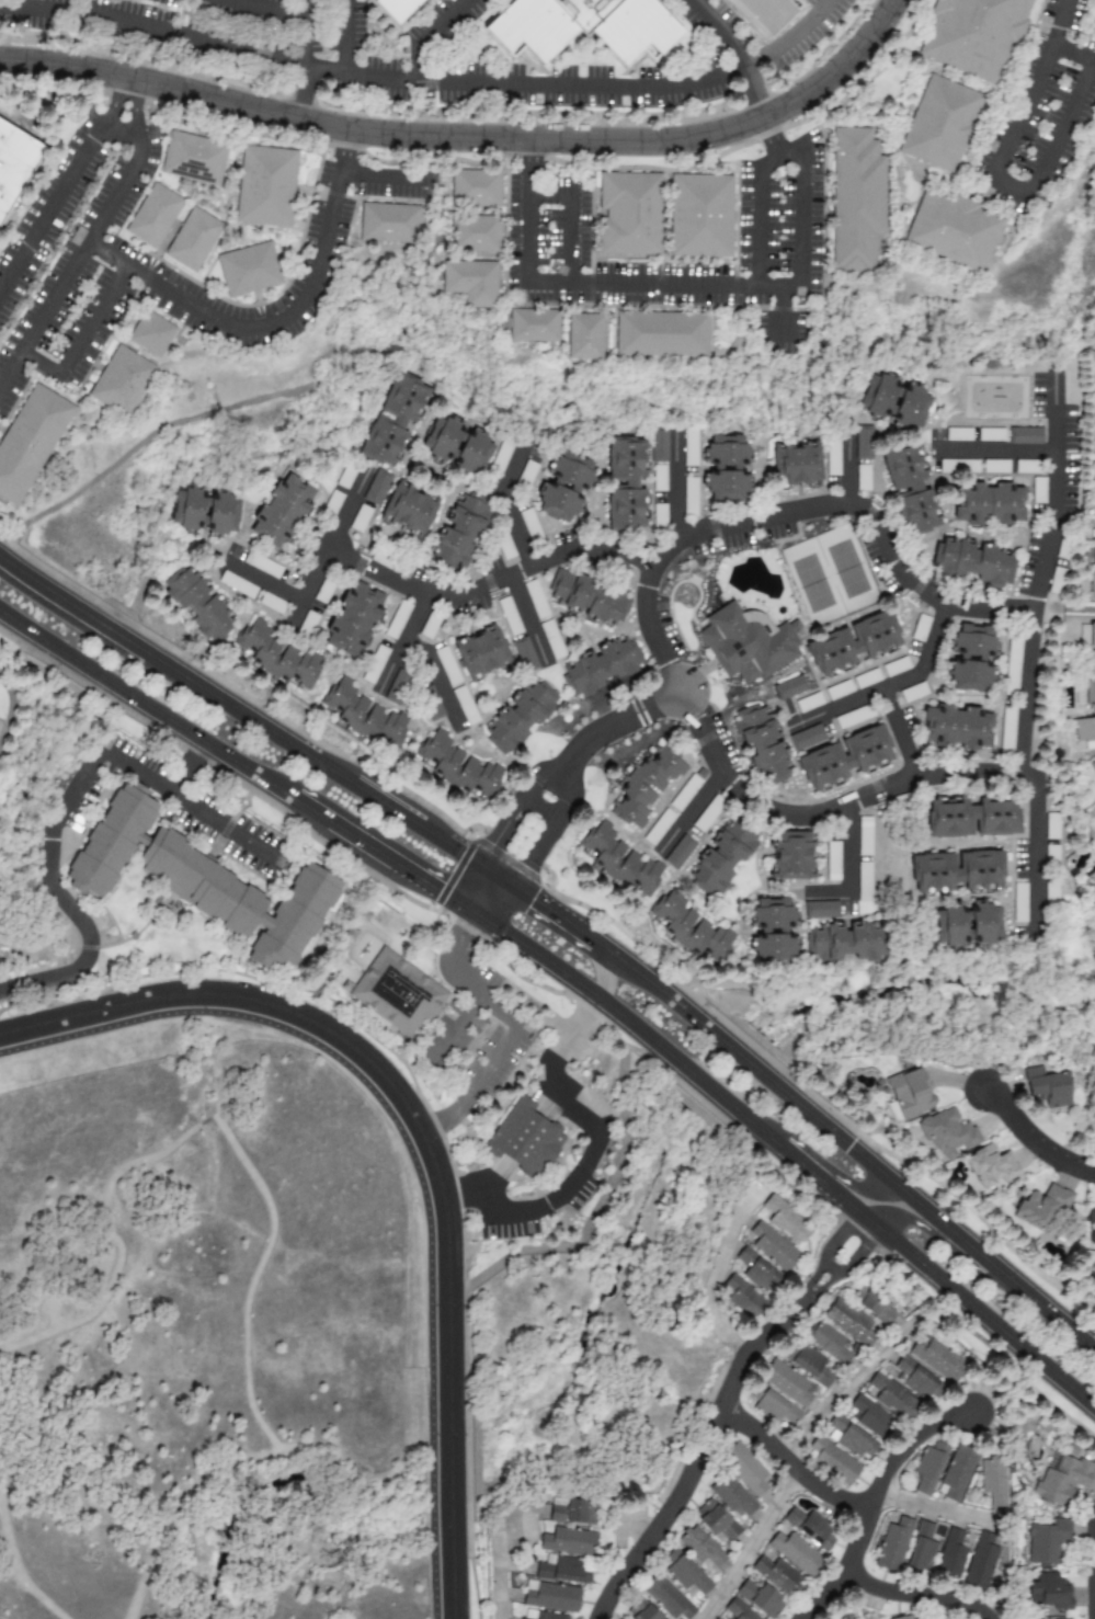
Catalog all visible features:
road: (43, 7)
building: (403, 8)
road: (263, 9)
building: (775, 11)
road: (1057, 23)
building: (589, 26)
road: (430, 34)
road: (307, 35)
building: (976, 35)
road: (344, 36)
road: (193, 39)
building: (1008, 60)
road: (752, 64)
road: (110, 99)
road: (137, 112)
building: (942, 124)
road: (768, 125)
road: (470, 138)
building: (196, 158)
building: (14, 163)
road: (384, 175)
road: (123, 178)
building: (269, 187)
building: (479, 190)
road: (1029, 191)
building: (857, 196)
road: (49, 204)
building: (634, 214)
road: (572, 216)
building: (706, 216)
building: (156, 217)
road: (798, 220)
building: (392, 224)
building: (953, 230)
building: (478, 235)
building: (195, 241)
building: (252, 271)
building: (475, 283)
road: (783, 297)
road: (196, 310)
building: (536, 327)
building: (153, 334)
building: (665, 334)
building: (589, 335)
road: (80, 339)
building: (124, 383)
building: (896, 404)
building: (397, 423)
road: (151, 433)
building: (958, 434)
building: (1024, 436)
building: (30, 443)
building: (863, 444)
building: (659, 445)
building: (689, 447)
road: (999, 449)
building: (461, 451)
building: (501, 457)
building: (833, 457)
road: (852, 459)
building: (803, 467)
building: (995, 467)
building: (1094, 470)
building: (527, 472)
building: (733, 472)
building: (345, 476)
building: (862, 477)
building: (659, 478)
road: (681, 479)
building: (632, 486)
building: (376, 487)
building: (1037, 490)
building: (573, 491)
building: (910, 492)
building: (689, 493)
building: (334, 500)
road: (509, 502)
building: (990, 508)
building: (1094, 511)
building: (286, 514)
building: (208, 515)
building: (414, 516)
building: (360, 518)
building: (528, 521)
building: (464, 533)
road: (333, 546)
building: (1094, 556)
building: (973, 563)
building: (262, 565)
road: (491, 580)
road: (266, 582)
building: (1092, 584)
building: (237, 585)
building: (322, 592)
building: (592, 602)
building: (202, 605)
road: (1064, 609)
road: (650, 611)
building: (509, 617)
road: (526, 618)
building: (397, 620)
building: (357, 624)
building: (427, 628)
building: (920, 628)
road: (89, 632)
building: (1092, 635)
building: (551, 639)
road: (406, 641)
building: (854, 648)
building: (749, 649)
road: (1031, 649)
building: (524, 654)
building: (492, 658)
building: (282, 660)
building: (976, 661)
building: (1092, 663)
building: (375, 664)
building: (446, 666)
building: (896, 666)
road: (169, 668)
building: (605, 670)
road: (437, 679)
building: (866, 679)
building: (397, 687)
building: (789, 687)
road: (890, 687)
building: (839, 691)
building: (913, 693)
building: (1090, 693)
building: (808, 703)
road: (145, 706)
building: (368, 716)
building: (853, 717)
building: (527, 718)
road: (621, 722)
building: (1084, 729)
building: (961, 730)
building: (1006, 730)
road: (903, 732)
building: (806, 738)
building: (768, 745)
building: (851, 761)
building: (1092, 768)
road: (191, 769)
building: (460, 769)
road: (543, 776)
road: (566, 791)
building: (639, 793)
building: (685, 793)
road: (379, 801)
road: (65, 805)
road: (539, 809)
road: (309, 810)
road: (691, 813)
building: (705, 817)
building: (1051, 825)
building: (659, 826)
road: (500, 832)
building: (969, 833)
traffic signals: (497, 839)
road: (364, 845)
road: (450, 847)
building: (678, 853)
road: (534, 854)
road: (507, 858)
building: (797, 858)
building: (726, 859)
building: (832, 862)
building: (626, 864)
road: (848, 864)
building: (956, 870)
road: (455, 871)
road: (495, 876)
building: (1091, 880)
building: (205, 881)
road: (431, 887)
road: (472, 887)
traffic signals: (432, 888)
traffic signals: (532, 899)
road: (494, 901)
building: (1019, 902)
building: (821, 910)
road: (551, 912)
road: (470, 913)
road: (460, 917)
building: (963, 923)
road: (471, 924)
traffic signals: (461, 928)
building: (692, 930)
building: (856, 935)
building: (783, 938)
road: (603, 970)
road: (468, 984)
road: (653, 987)
road: (584, 989)
building: (397, 992)
road: (455, 1034)
road: (737, 1054)
road: (560, 1056)
road: (478, 1084)
building: (1047, 1086)
road: (708, 1088)
building: (909, 1093)
road: (216, 1110)
road: (206, 1121)
building: (946, 1131)
road: (423, 1137)
building: (531, 1140)
road: (1033, 1141)
traffic signals: (849, 1148)
road: (409, 1151)
road: (817, 1159)
building: (989, 1166)
road: (573, 1186)
road: (486, 1189)
building: (1040, 1206)
road: (928, 1213)
road: (594, 1216)
building: (785, 1220)
building: (1091, 1227)
road: (839, 1235)
road: (105, 1241)
road: (118, 1244)
road: (944, 1244)
building: (773, 1247)
road: (859, 1252)
road: (914, 1259)
road: (830, 1267)
building: (756, 1272)
road: (712, 1274)
road: (812, 1279)
road: (821, 1287)
building: (742, 1298)
building: (876, 1307)
road: (52, 1316)
park: (214, 1331)
building: (829, 1343)
building: (936, 1358)
building: (810, 1365)
building: (919, 1381)
building: (787, 1383)
road: (839, 1388)
road: (249, 1398)
road: (725, 1398)
building: (892, 1398)
building: (773, 1406)
building: (869, 1416)
building: (851, 1438)
road: (902, 1446)
road: (288, 1450)
building: (832, 1461)
building: (928, 1468)
building: (745, 1469)
building: (956, 1473)
building: (993, 1480)
building: (1061, 1480)
building: (731, 1497)
road: (841, 1501)
road: (652, 1506)
road: (931, 1509)
building: (571, 1512)
building: (715, 1521)
road: (637, 1523)
building: (810, 1528)
road: (190, 1531)
building: (1046, 1541)
building: (568, 1542)
road: (750, 1546)
building: (892, 1546)
building: (700, 1549)
building: (921, 1549)
building: (794, 1553)
road: (12, 1557)
building: (950, 1557)
building: (980, 1562)
road: (628, 1565)
building: (562, 1571)
road: (497, 1572)
building: (685, 1573)
building: (778, 1575)
road: (1094, 1585)
building: (1048, 1591)
road: (916, 1595)
building: (550, 1597)
building: (665, 1597)
building: (760, 1598)
building: (738, 1610)
building: (641, 1611)
building: (541, 1616)
building: (904, 1617)

